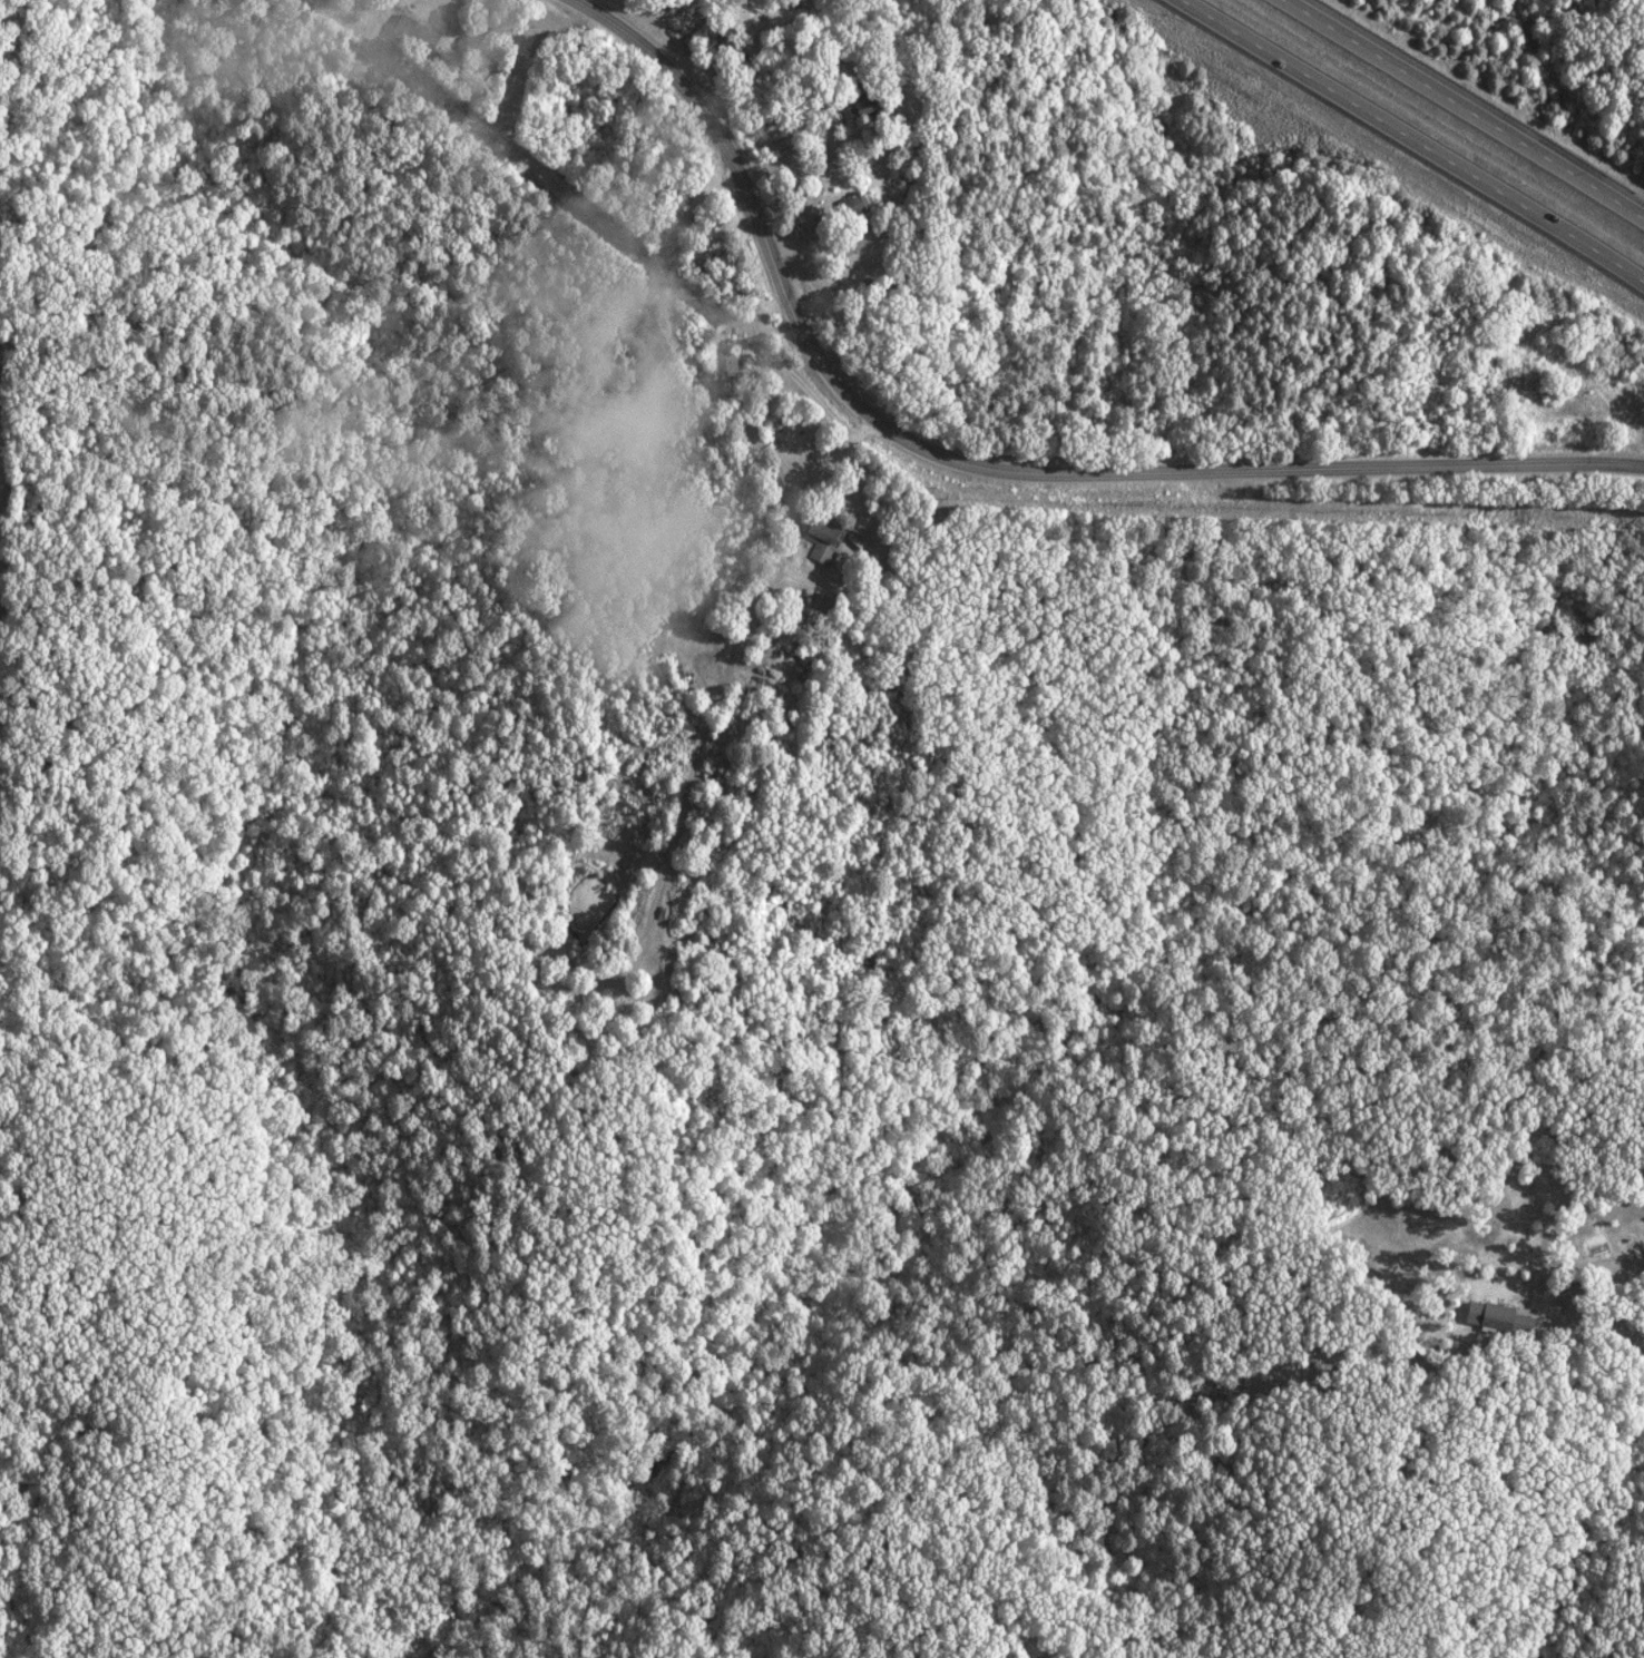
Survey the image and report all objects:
road: (0, 1)
building: (409, 32)
building: (858, 100)
road: (1461, 111)
road: (1411, 140)
building: (848, 204)
building: (854, 249)
building: (720, 357)
road: (987, 467)
building: (819, 539)
road: (1622, 1258)
road: (1533, 1316)
building: (1493, 1318)

